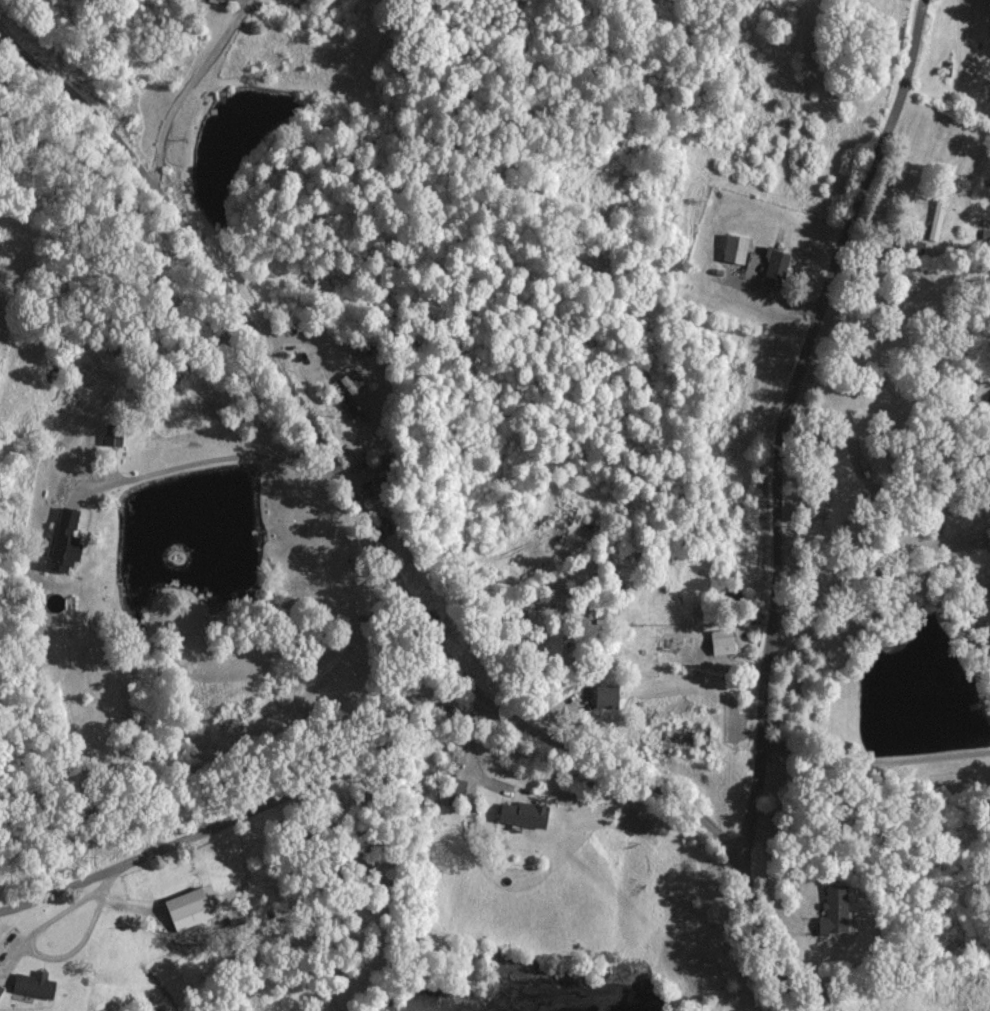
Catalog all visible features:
building: (229, 0)
building: (934, 218)
building: (733, 248)
building: (773, 266)
building: (353, 393)
road: (780, 419)
road: (212, 473)
building: (62, 541)
road: (376, 561)
building: (719, 642)
building: (600, 696)
road: (872, 762)
road: (256, 809)
building: (521, 814)
building: (185, 909)
building: (831, 911)
building: (32, 985)
building: (0, 986)

